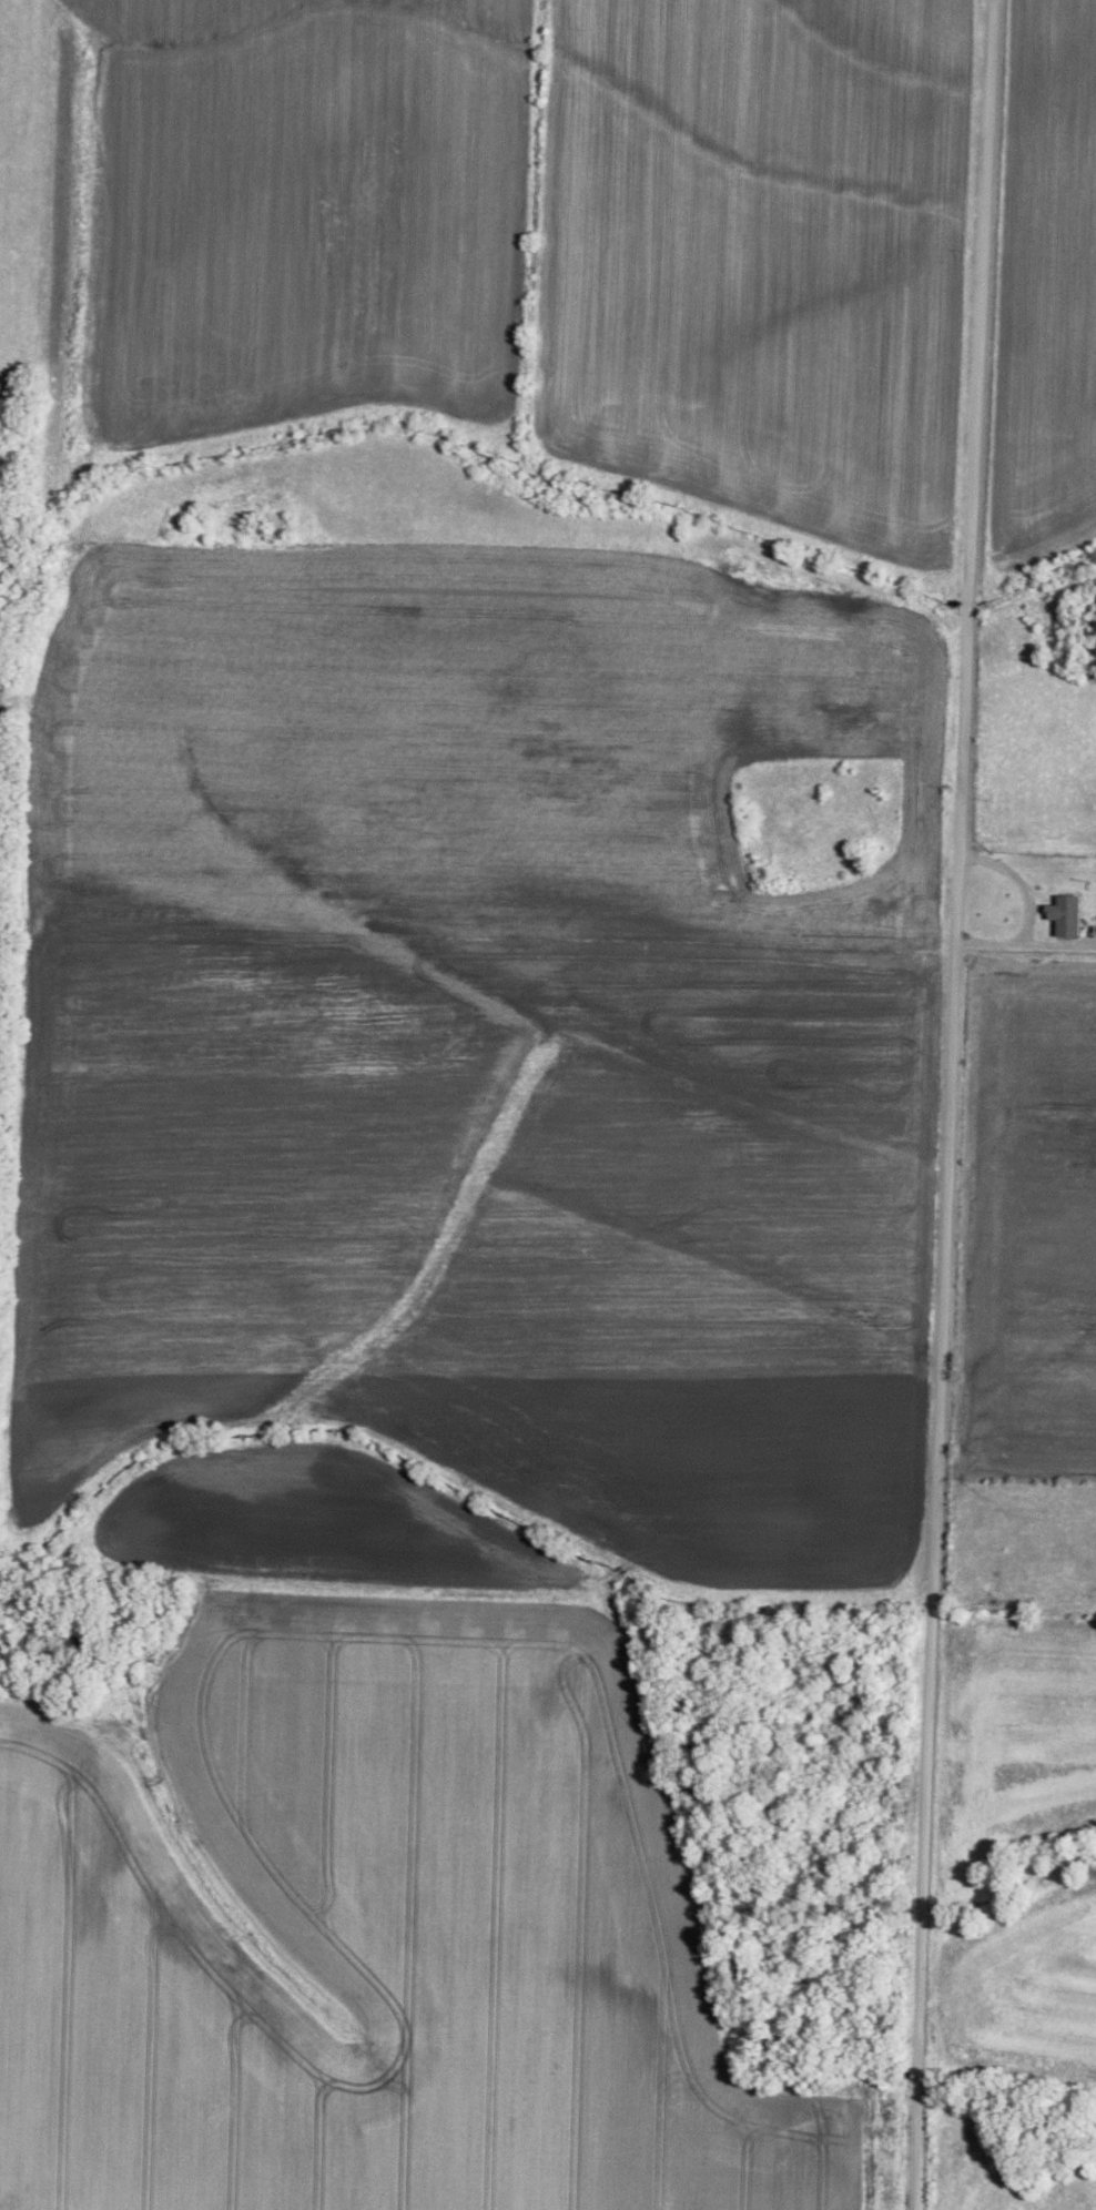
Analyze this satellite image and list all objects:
road: (956, 1104)

